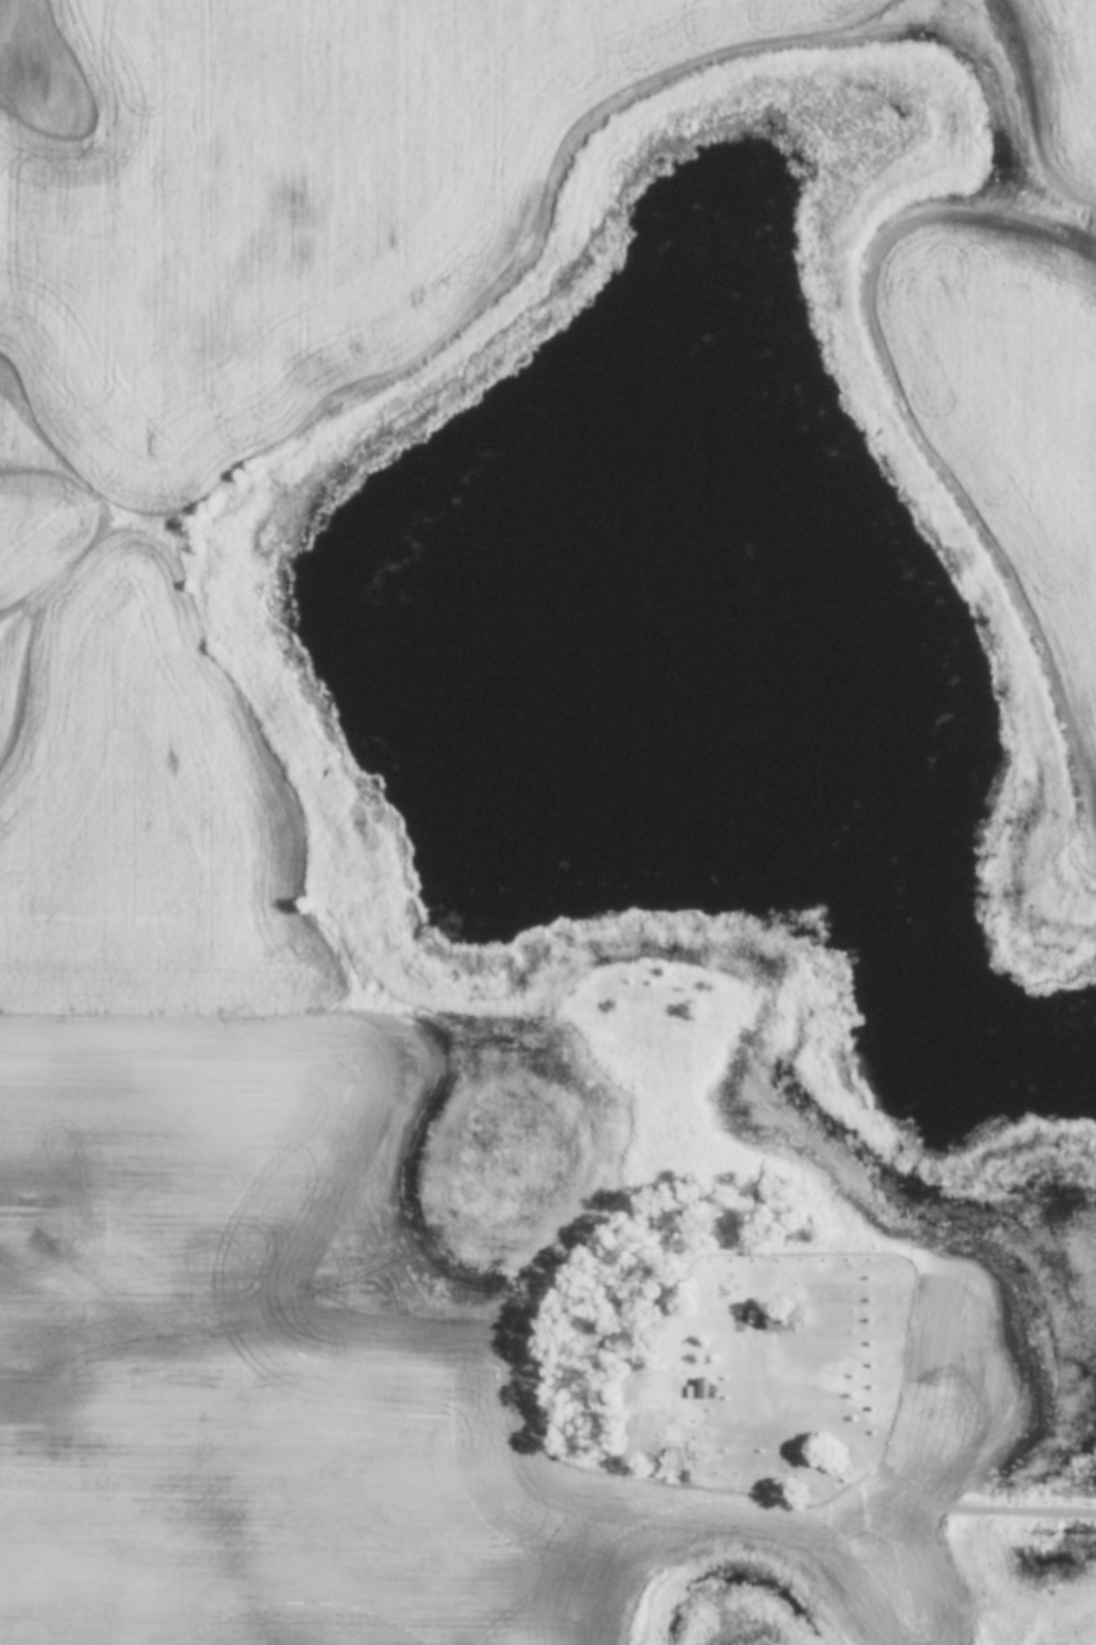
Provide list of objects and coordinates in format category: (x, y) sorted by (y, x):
road: (906, 1506)

